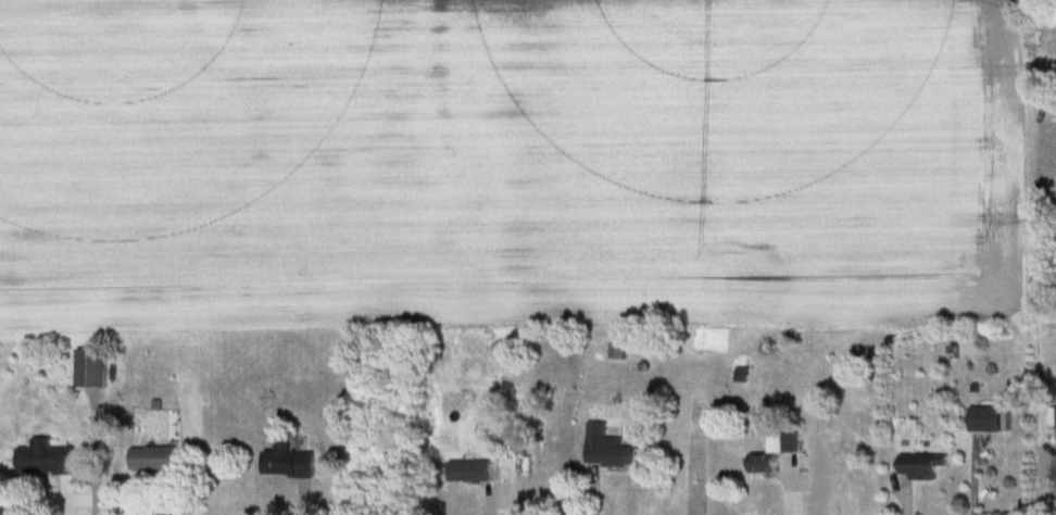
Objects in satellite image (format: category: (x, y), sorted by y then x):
building: (91, 368)
building: (985, 419)
building: (608, 448)
building: (775, 451)
building: (155, 457)
building: (46, 459)
building: (289, 461)
building: (920, 465)
building: (470, 470)

